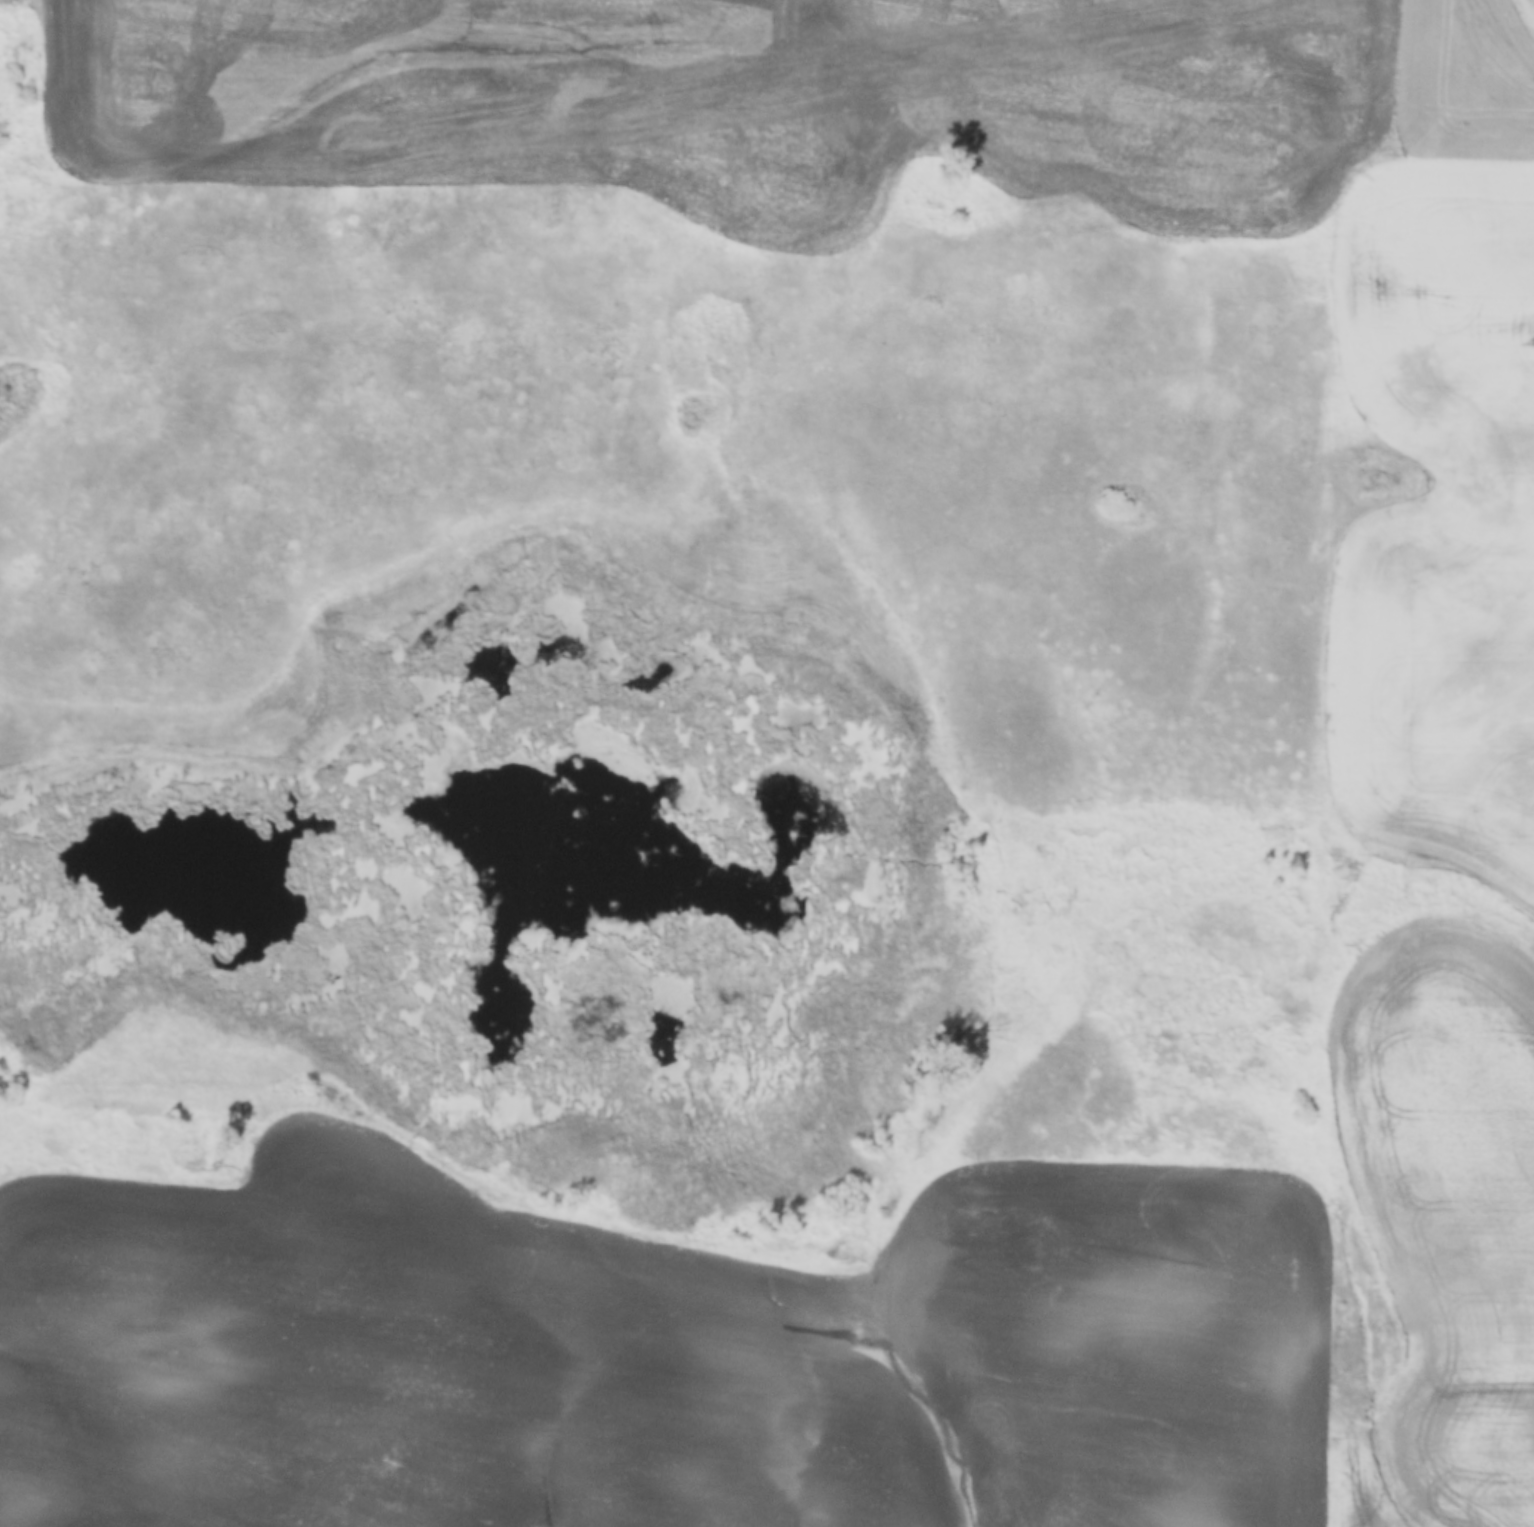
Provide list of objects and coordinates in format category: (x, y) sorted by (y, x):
road: (1368, 161)

